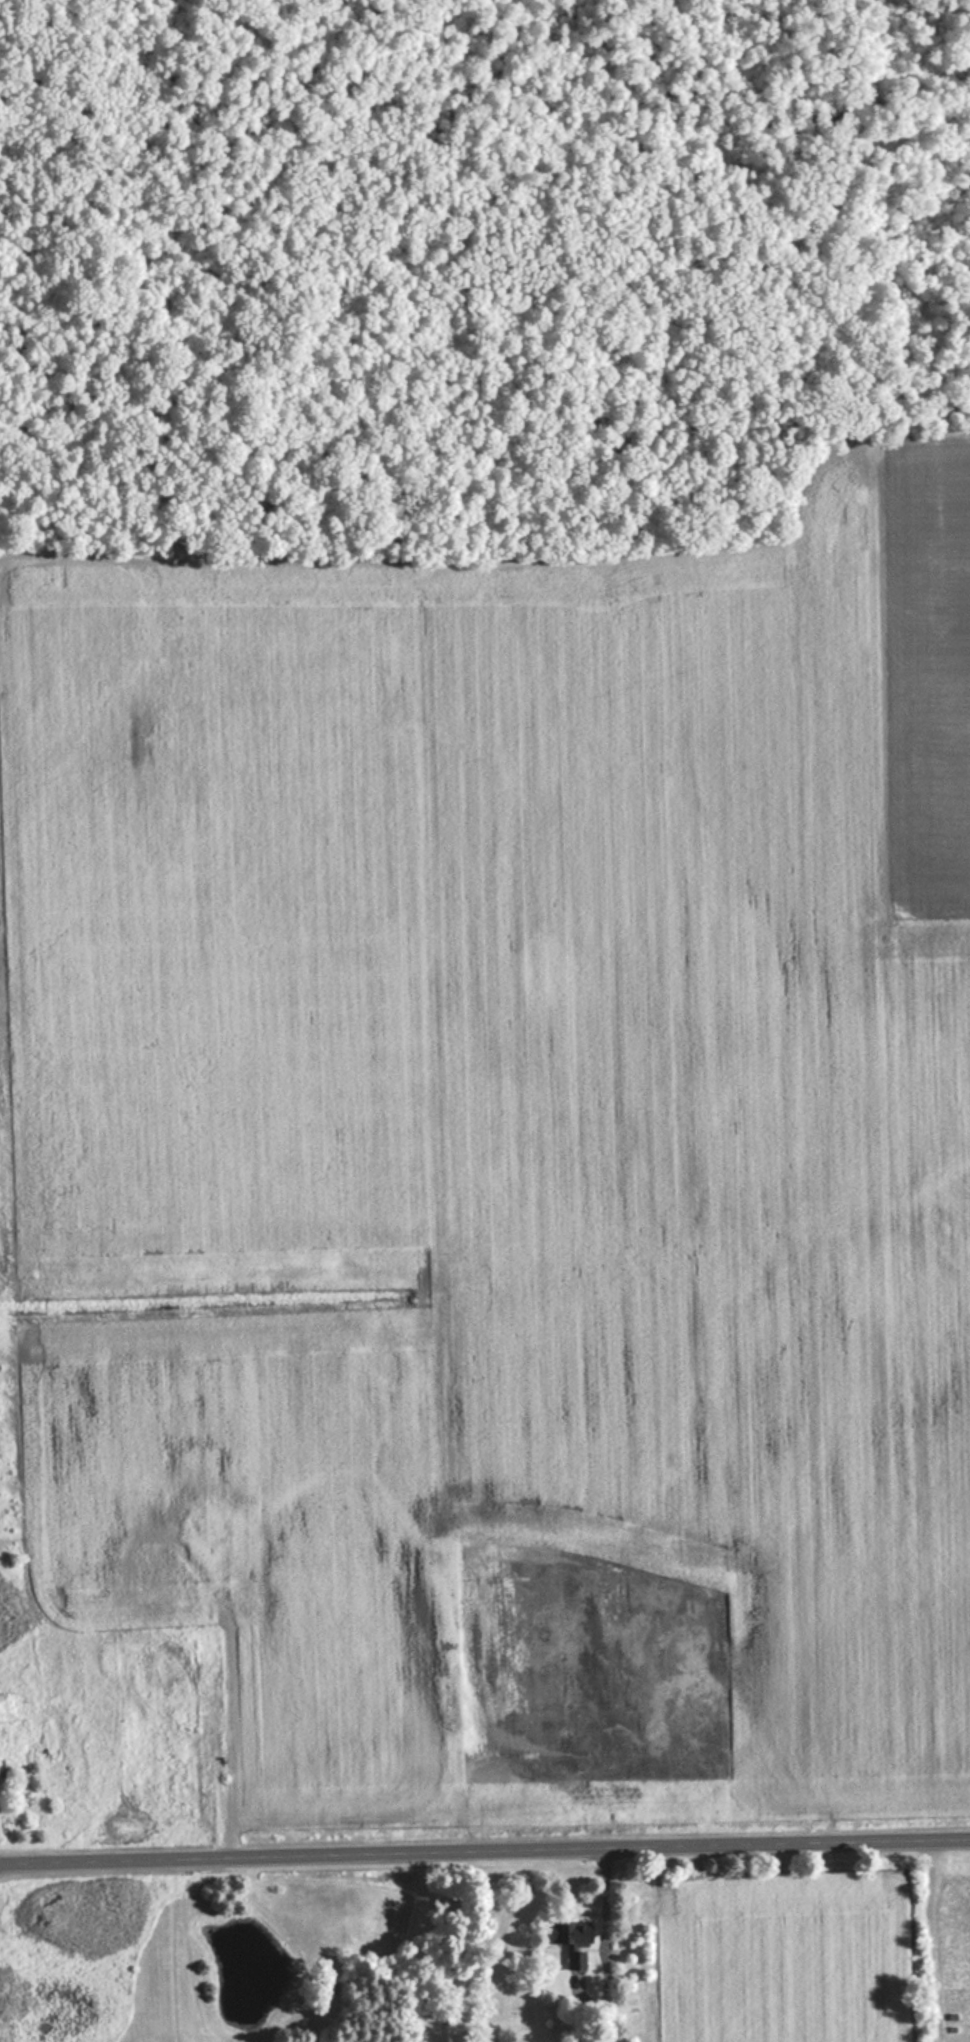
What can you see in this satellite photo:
road: (485, 1859)
building: (572, 1943)

